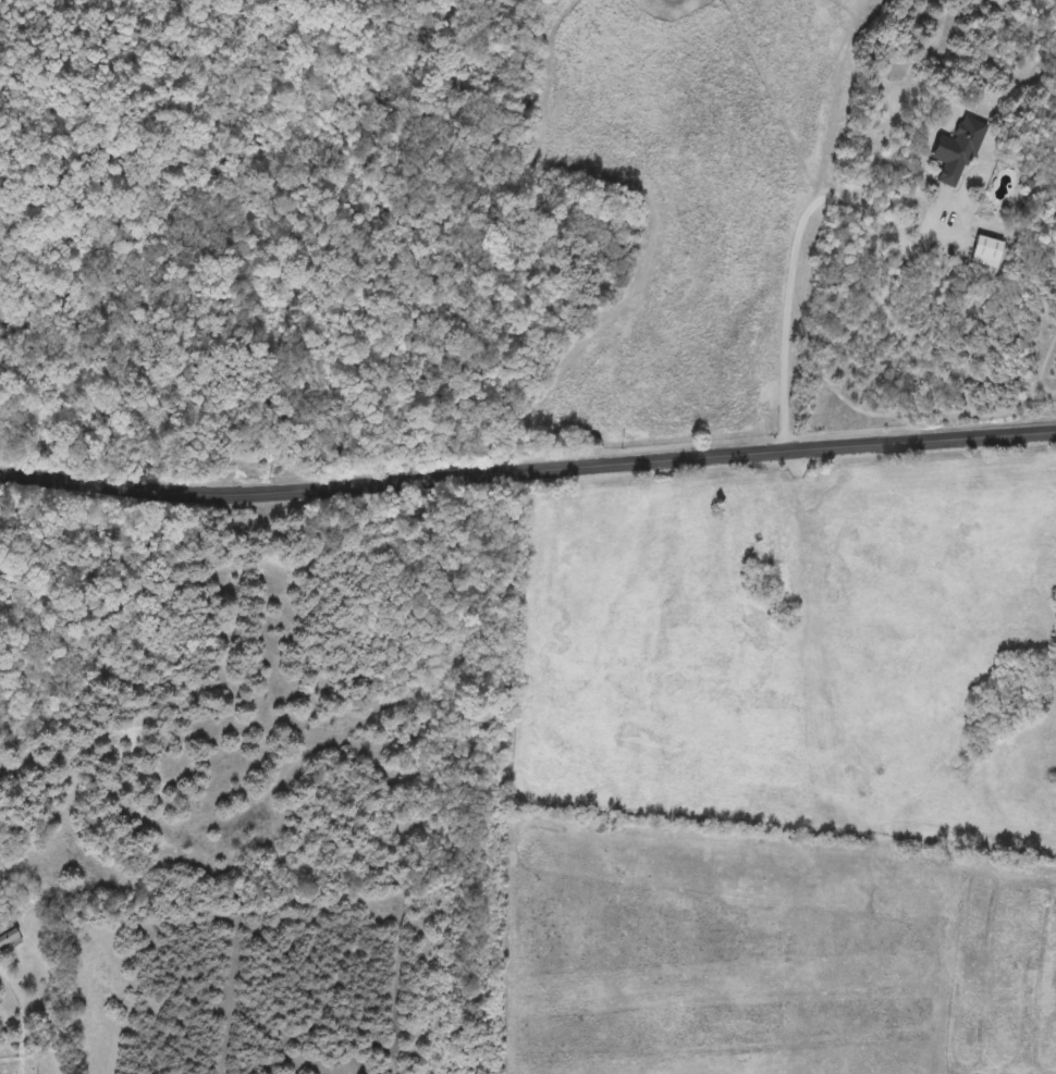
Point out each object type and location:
building: (953, 152)
building: (983, 254)
road: (800, 263)
road: (527, 467)
building: (9, 936)
road: (17, 1021)

